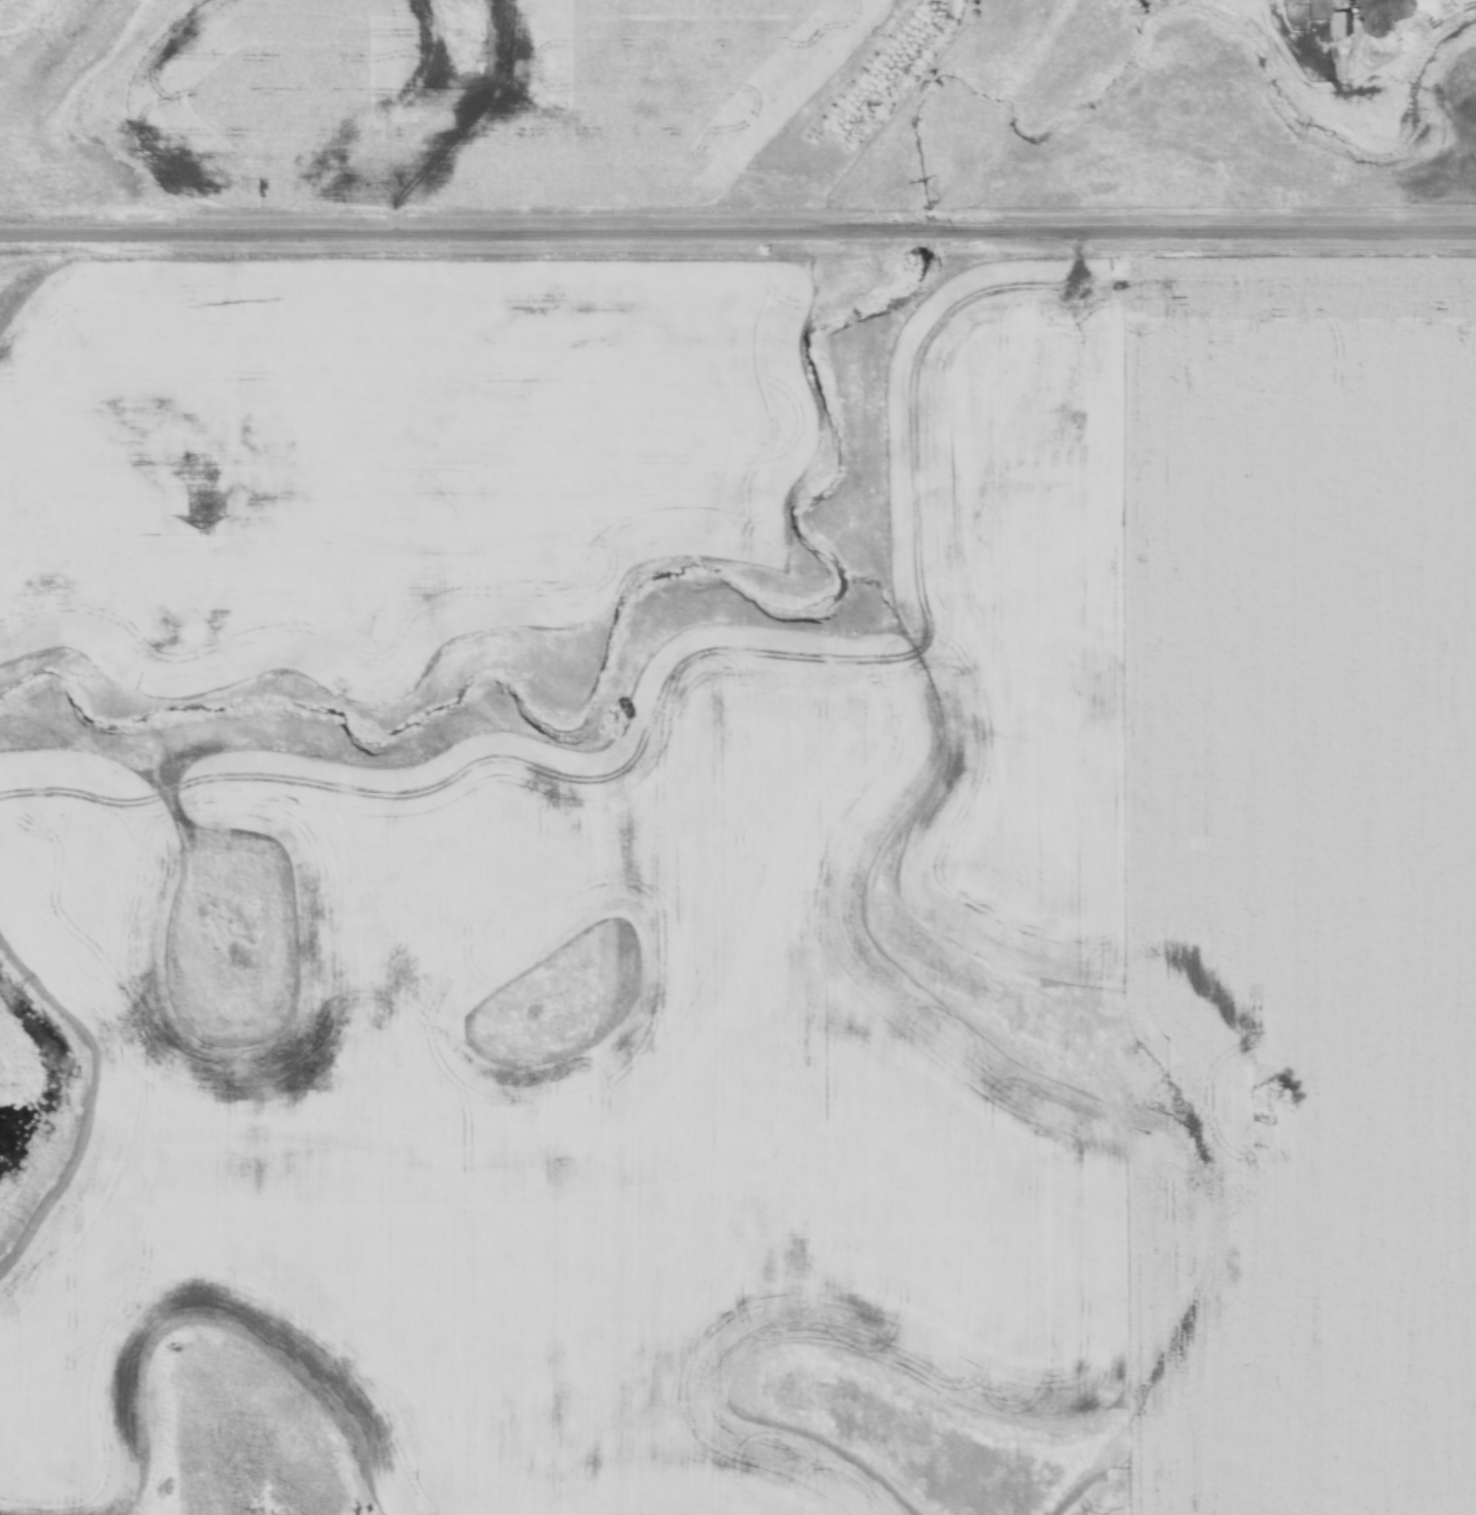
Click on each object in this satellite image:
building: (1337, 24)
road: (738, 222)

